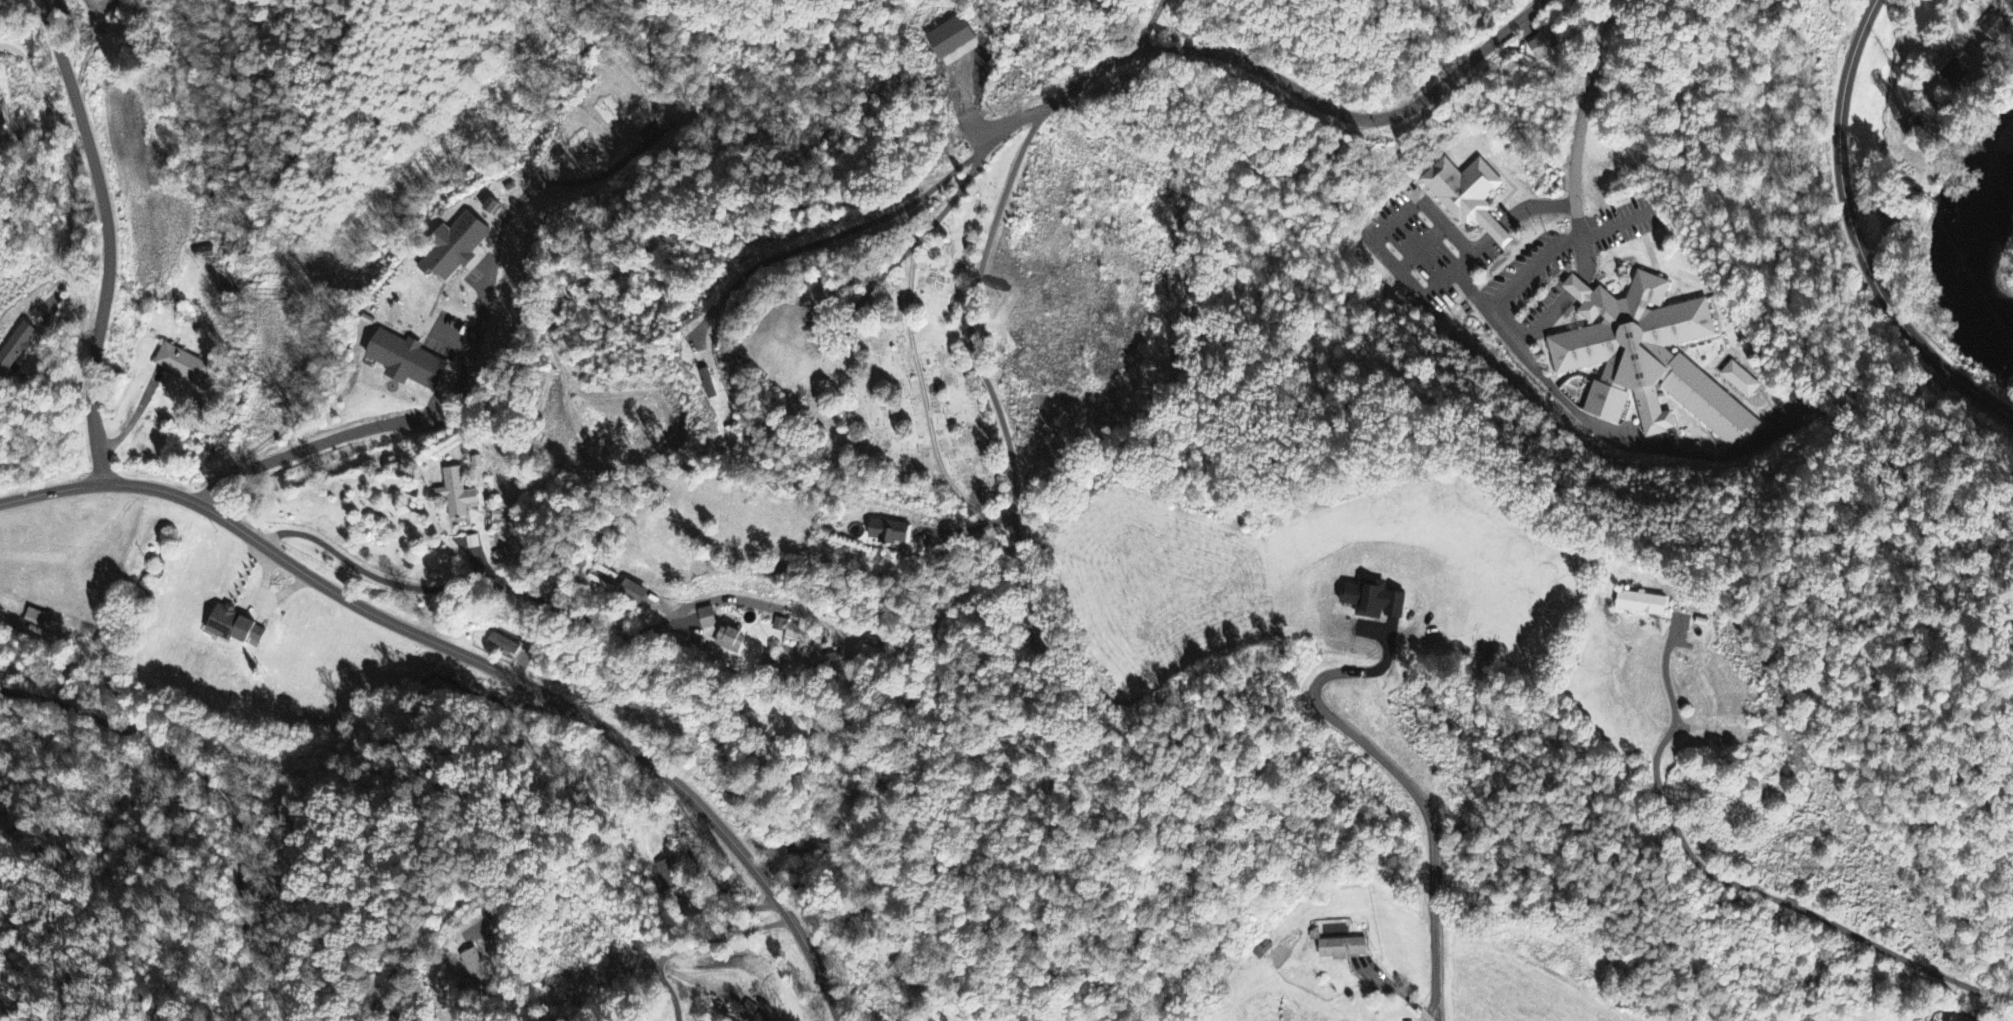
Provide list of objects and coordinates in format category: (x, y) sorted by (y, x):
road: (1154, 23)
building: (1996, 27)
building: (951, 38)
building: (1542, 43)
building: (1955, 75)
road: (1298, 91)
road: (1578, 121)
river: (1986, 186)
building: (1467, 192)
building: (491, 208)
road: (852, 223)
road: (1854, 237)
road: (109, 238)
building: (453, 248)
river: (1972, 286)
road: (970, 312)
building: (16, 347)
building: (1649, 356)
park: (887, 358)
building: (408, 362)
building: (182, 366)
building: (1742, 375)
road: (133, 416)
road: (321, 446)
building: (456, 495)
building: (889, 533)
road: (364, 571)
building: (633, 594)
building: (1374, 601)
building: (1642, 605)
building: (37, 620)
building: (707, 620)
building: (235, 628)
building: (796, 634)
building: (731, 641)
building: (502, 645)
building: (872, 649)
road: (476, 662)
road: (223, 788)
park: (283, 834)
building: (811, 852)
road: (1783, 903)
road: (421, 940)
building: (1344, 945)
building: (475, 968)
road: (1400, 990)
building: (1954, 1020)

